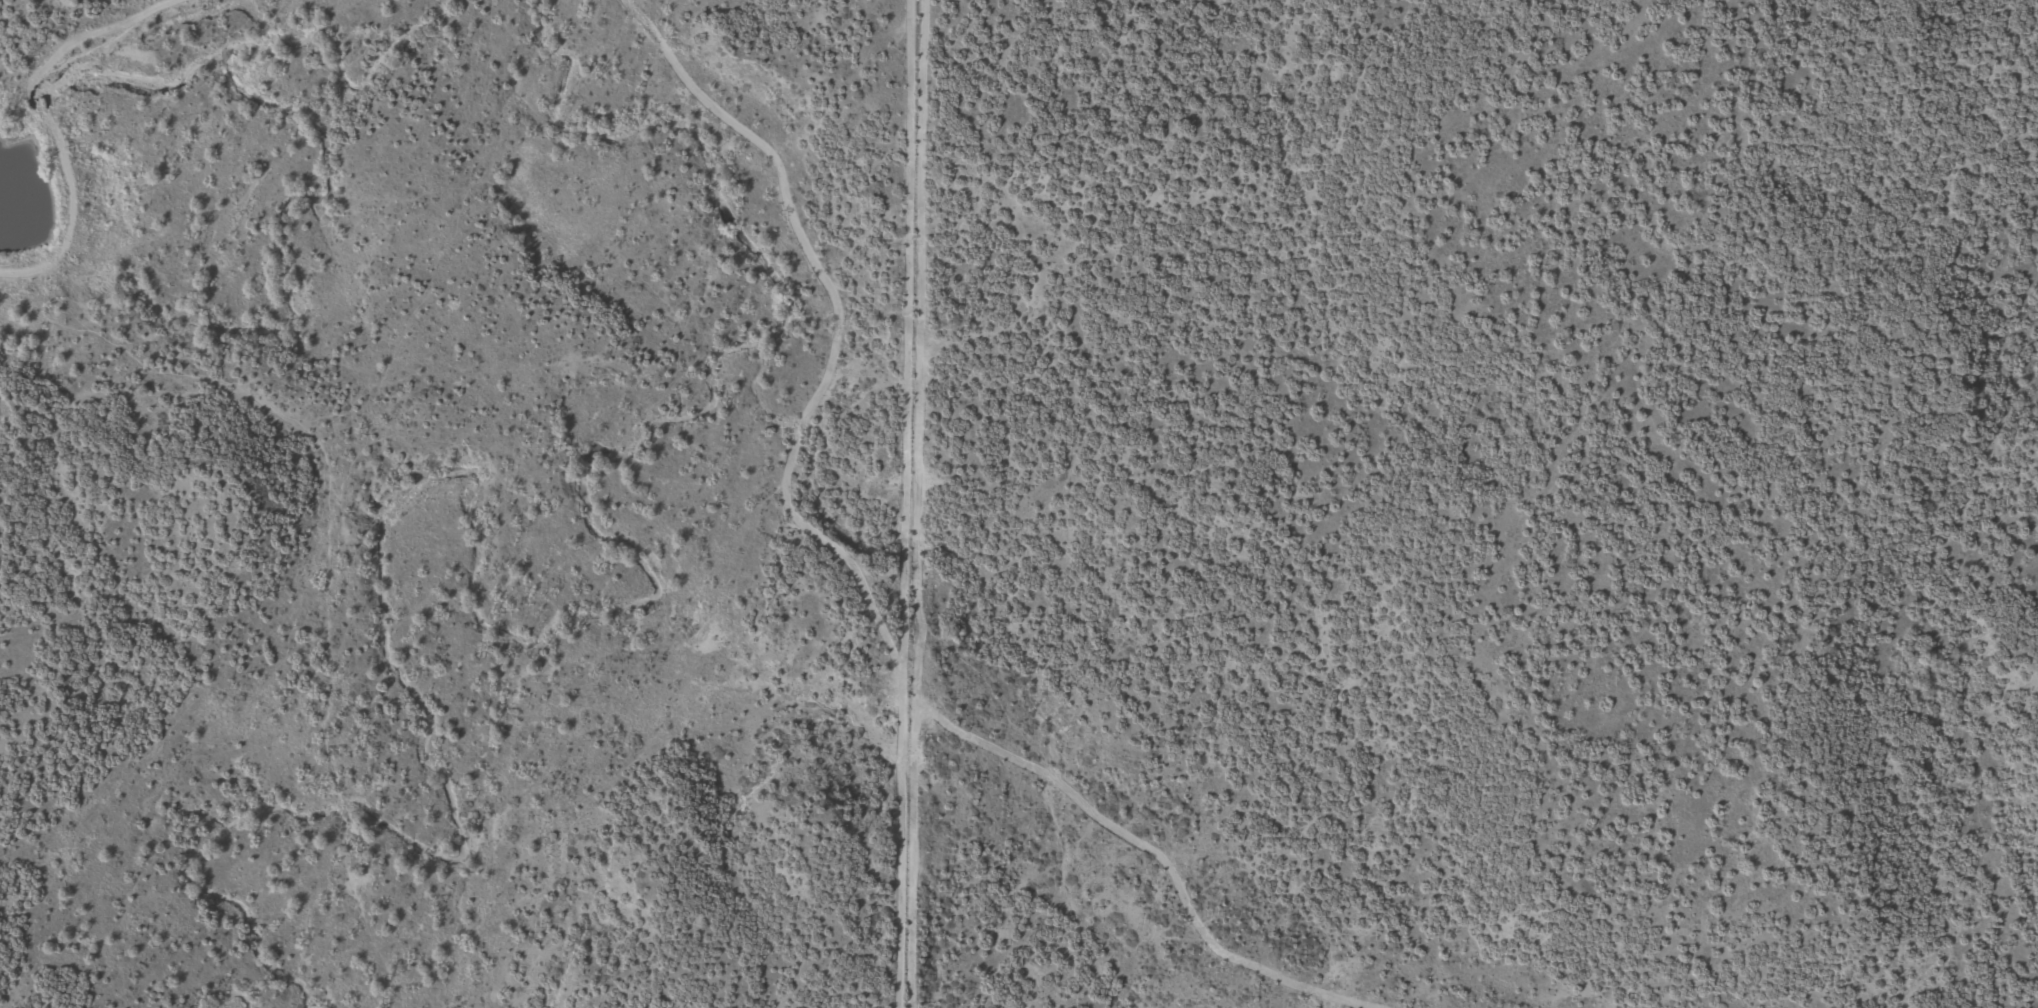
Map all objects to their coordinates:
road: (87, 33)
road: (780, 660)

